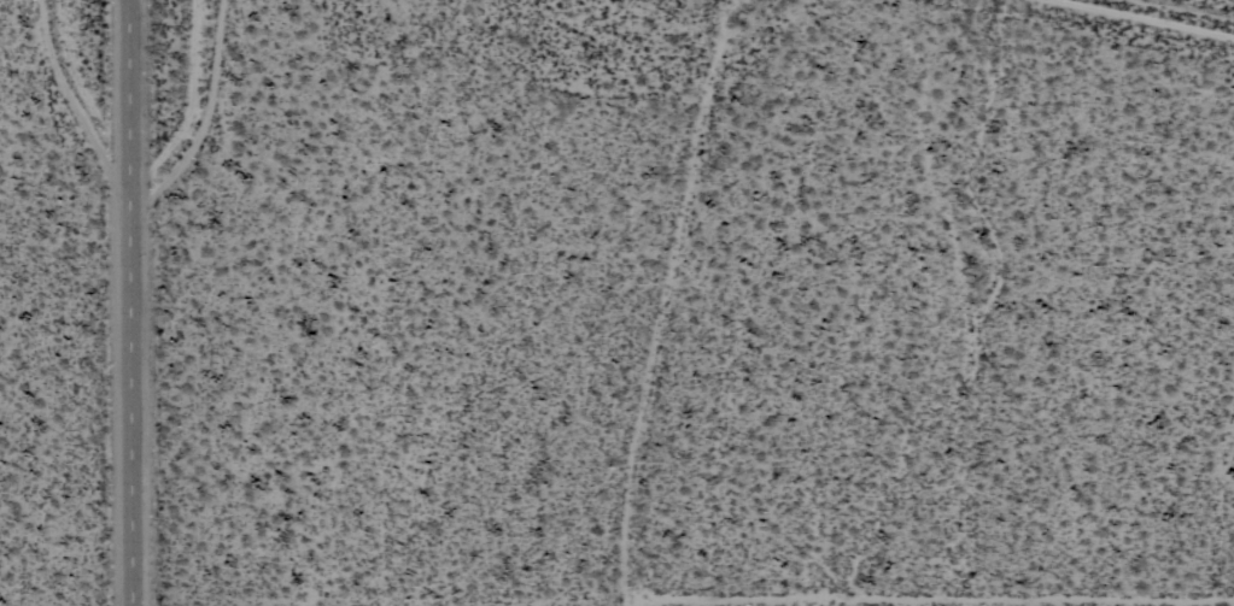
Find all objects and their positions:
road: (1164, 13)
road: (204, 117)
road: (665, 301)
road: (124, 302)
road: (932, 592)

